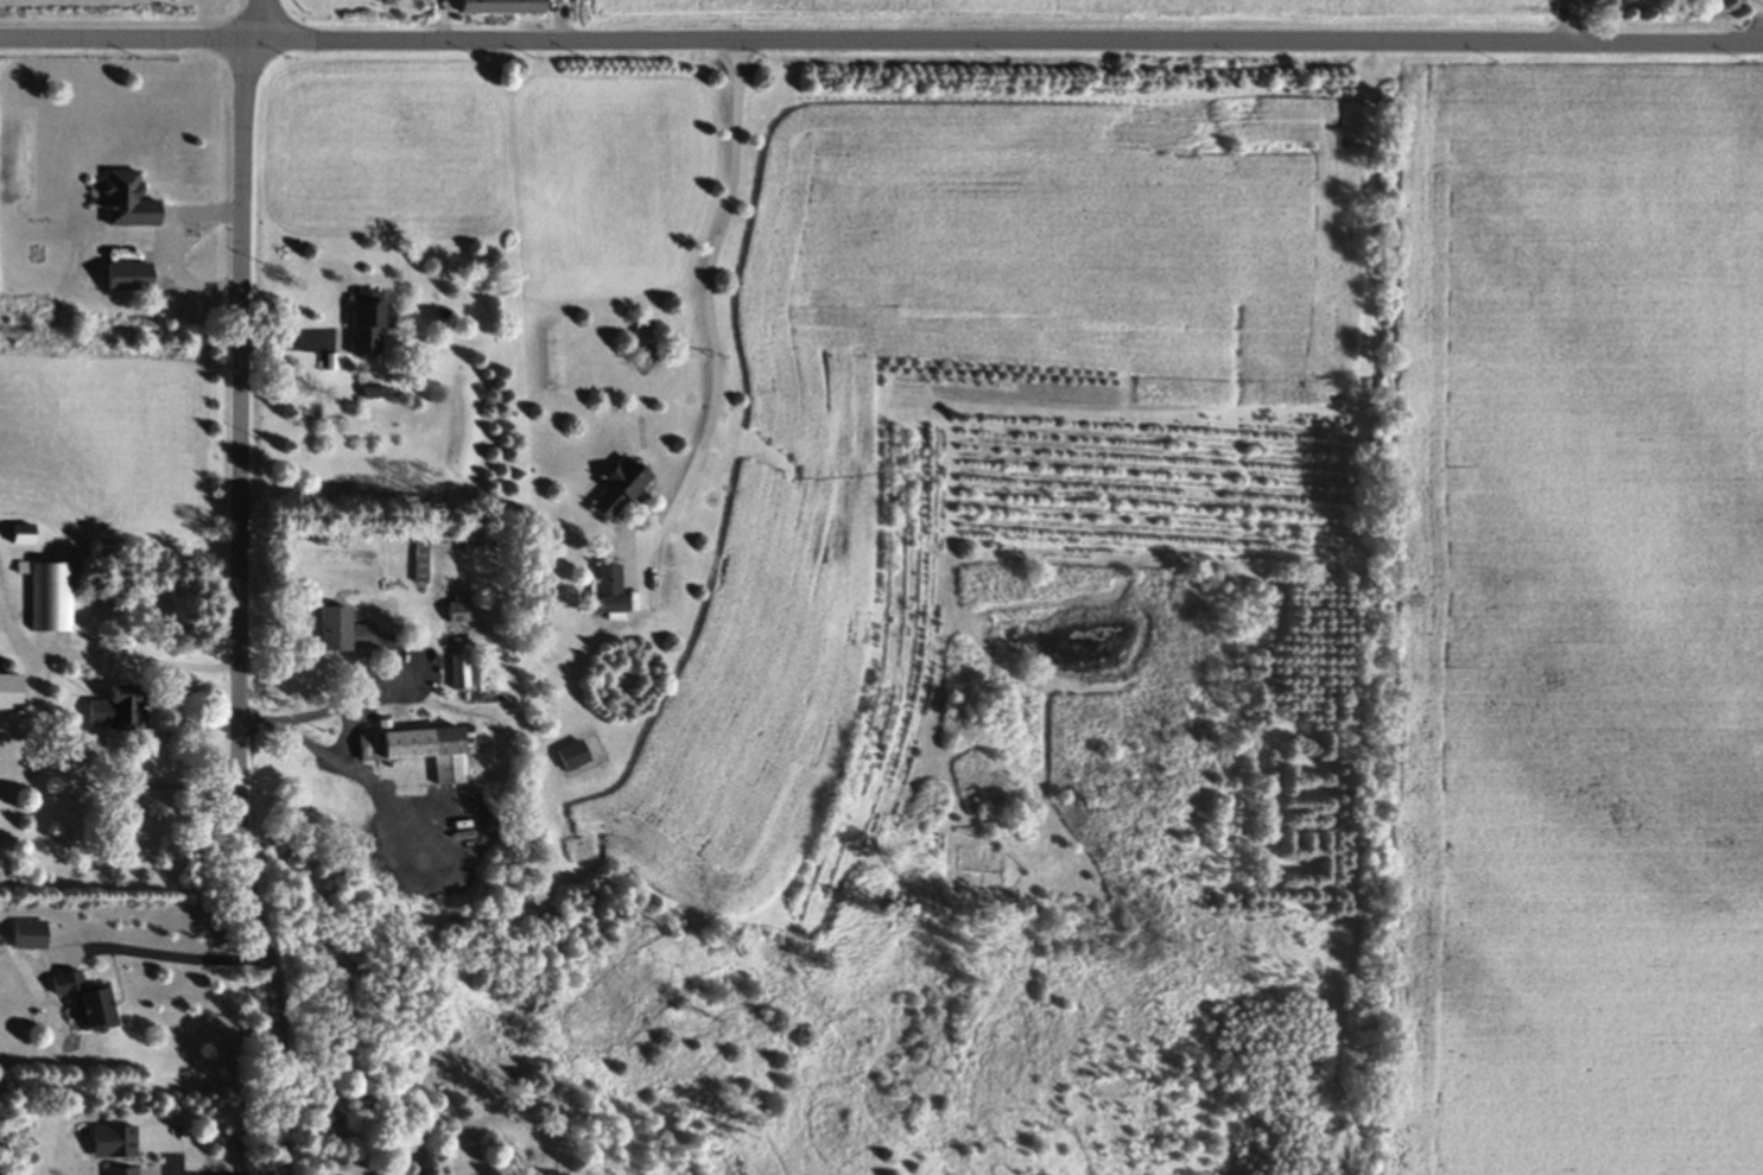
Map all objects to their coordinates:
building: (496, 8)
road: (268, 21)
road: (1567, 23)
road: (1757, 23)
road: (881, 43)
building: (125, 204)
road: (706, 309)
building: (362, 326)
building: (614, 490)
building: (18, 538)
building: (604, 591)
building: (52, 601)
road: (242, 610)
building: (338, 635)
building: (8, 696)
road: (38, 699)
building: (113, 712)
road: (313, 716)
building: (420, 754)
building: (566, 758)
building: (25, 938)
road: (163, 953)
building: (82, 1002)
building: (109, 1143)
building: (115, 1171)
road: (274, 1174)

